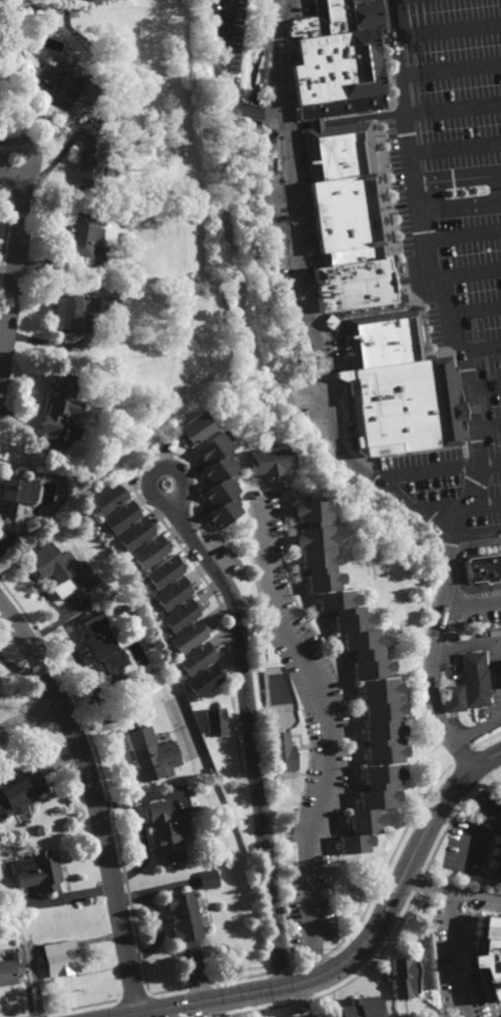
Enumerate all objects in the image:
road: (448, 30)
building: (334, 61)
road: (450, 70)
road: (223, 78)
building: (56, 84)
road: (453, 108)
road: (344, 118)
building: (313, 122)
road: (15, 142)
road: (456, 149)
road: (0, 158)
building: (87, 167)
road: (457, 178)
road: (500, 179)
road: (460, 206)
building: (345, 221)
road: (462, 233)
building: (82, 235)
road: (465, 274)
road: (15, 277)
road: (301, 294)
building: (109, 304)
road: (473, 311)
building: (66, 315)
road: (481, 347)
building: (396, 387)
road: (485, 389)
road: (468, 390)
building: (59, 401)
building: (196, 425)
road: (487, 427)
building: (266, 459)
road: (157, 471)
road: (437, 472)
building: (218, 476)
building: (16, 497)
building: (108, 497)
road: (483, 504)
building: (121, 515)
building: (28, 528)
building: (135, 532)
road: (474, 537)
building: (150, 550)
building: (483, 557)
building: (62, 568)
building: (164, 571)
building: (173, 592)
road: (473, 604)
building: (180, 614)
building: (349, 631)
building: (188, 636)
building: (102, 642)
building: (196, 657)
road: (496, 663)
building: (479, 669)
building: (204, 679)
building: (460, 684)
road: (31, 718)
building: (215, 722)
road: (477, 727)
road: (251, 733)
road: (331, 733)
building: (151, 753)
building: (284, 753)
building: (209, 770)
building: (23, 790)
road: (471, 794)
road: (96, 797)
building: (369, 805)
building: (497, 825)
road: (472, 827)
building: (167, 832)
building: (497, 866)
building: (39, 870)
building: (209, 878)
road: (427, 880)
road: (474, 895)
building: (184, 916)
road: (356, 952)
road: (455, 954)
building: (489, 955)
building: (61, 957)
building: (11, 966)
building: (401, 978)
road: (302, 999)
road: (217, 1007)
building: (360, 1007)
building: (319, 1015)

